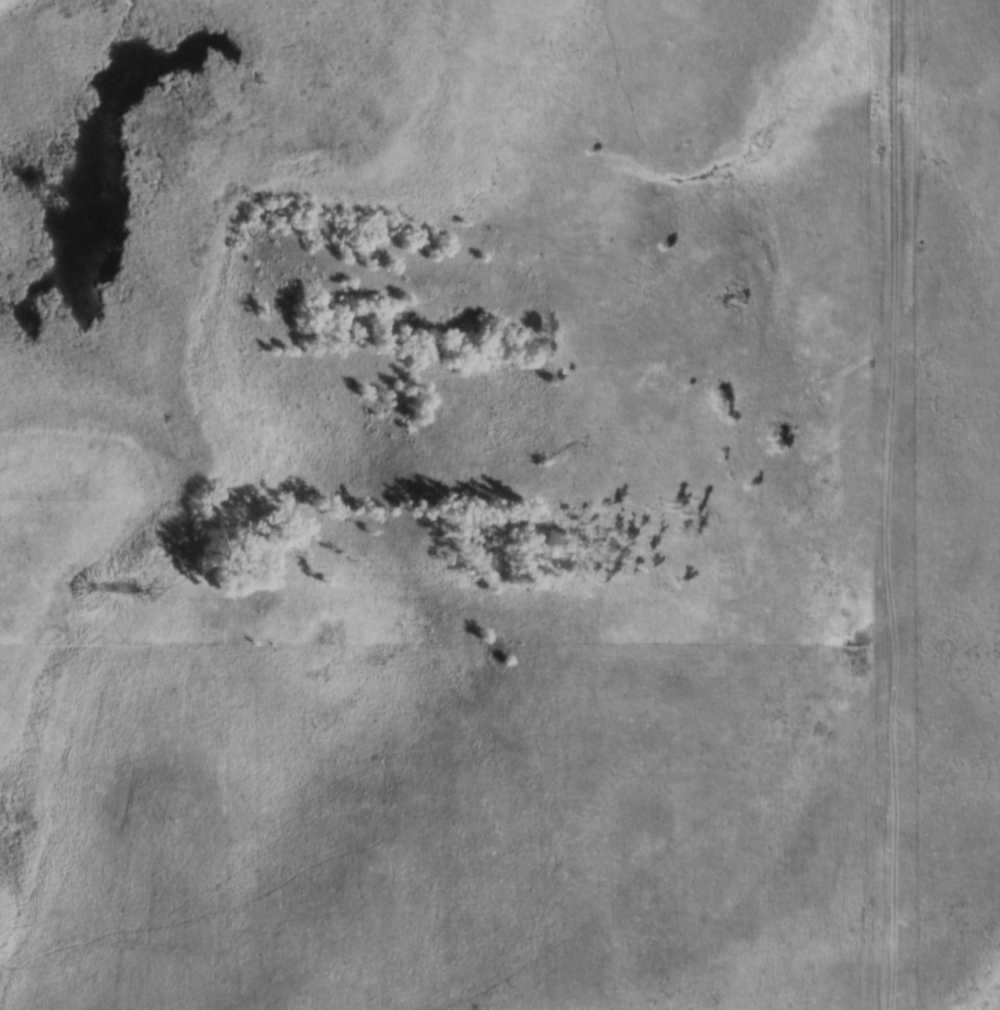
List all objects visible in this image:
road: (897, 504)

